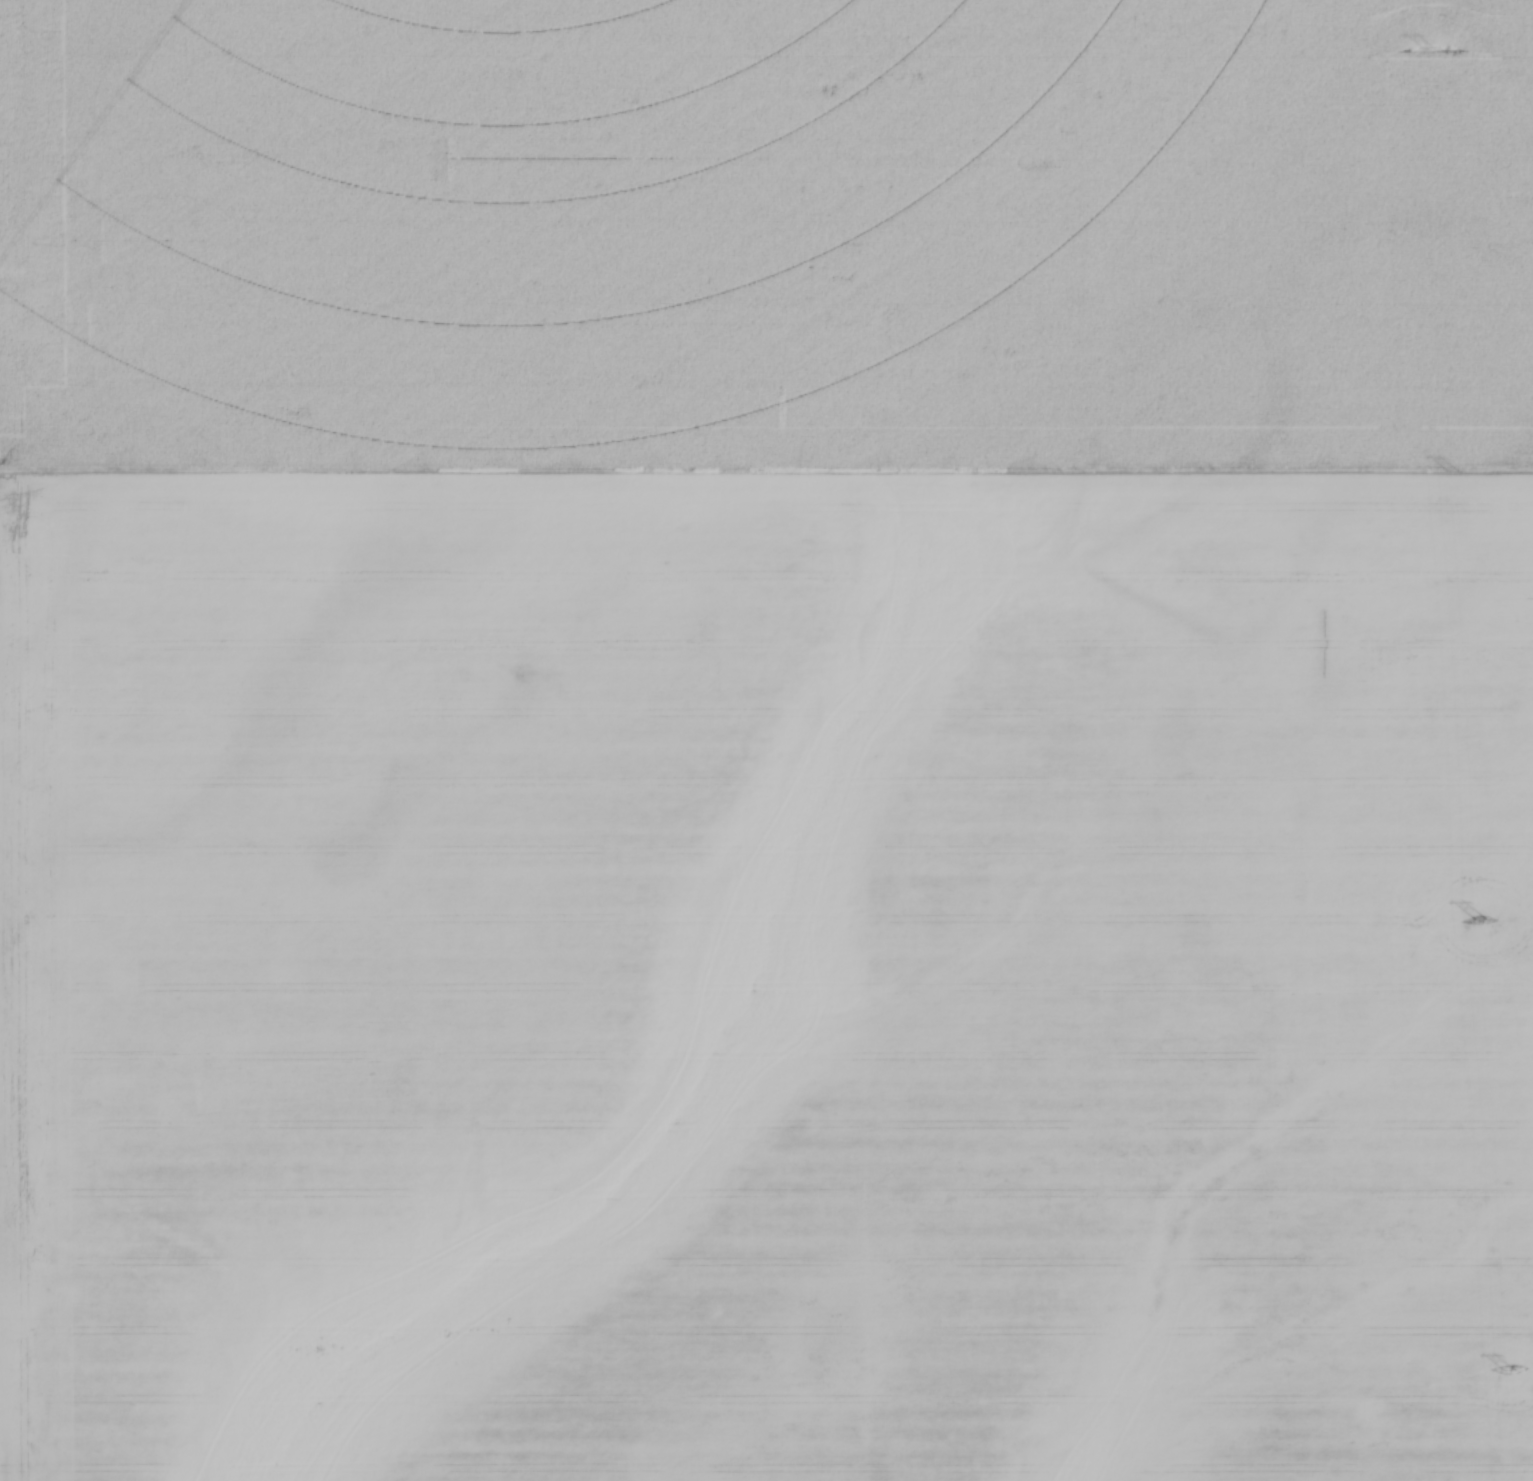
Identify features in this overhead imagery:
power tower: (1427, 49)
power tower: (1452, 469)
power tower: (1481, 919)
power tower: (1509, 1369)

